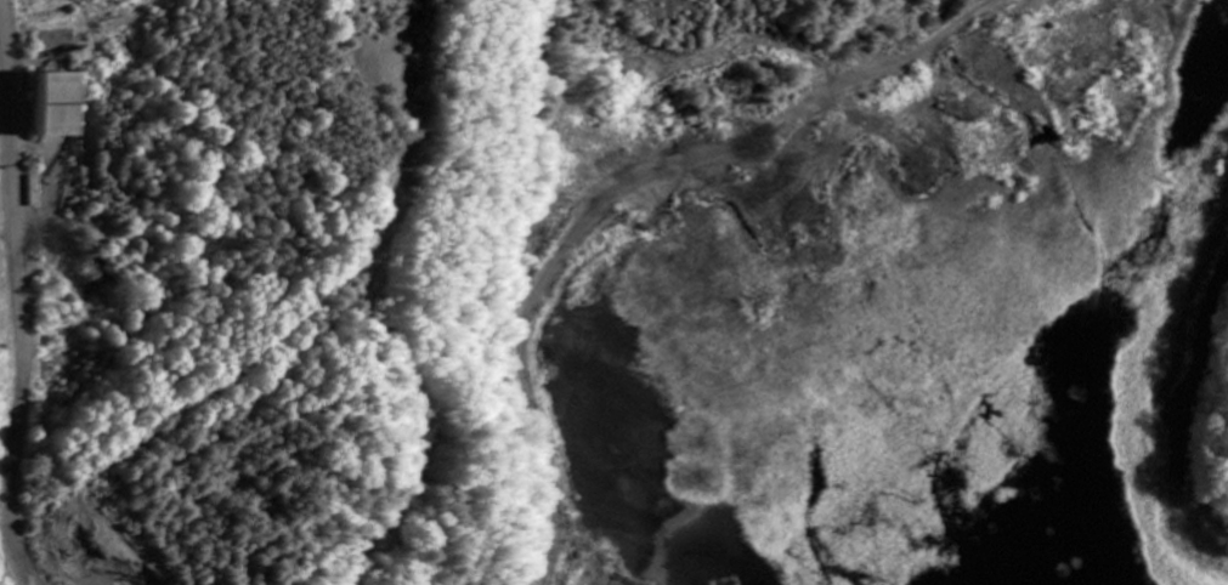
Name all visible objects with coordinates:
building: (56, 109)
road: (16, 328)

